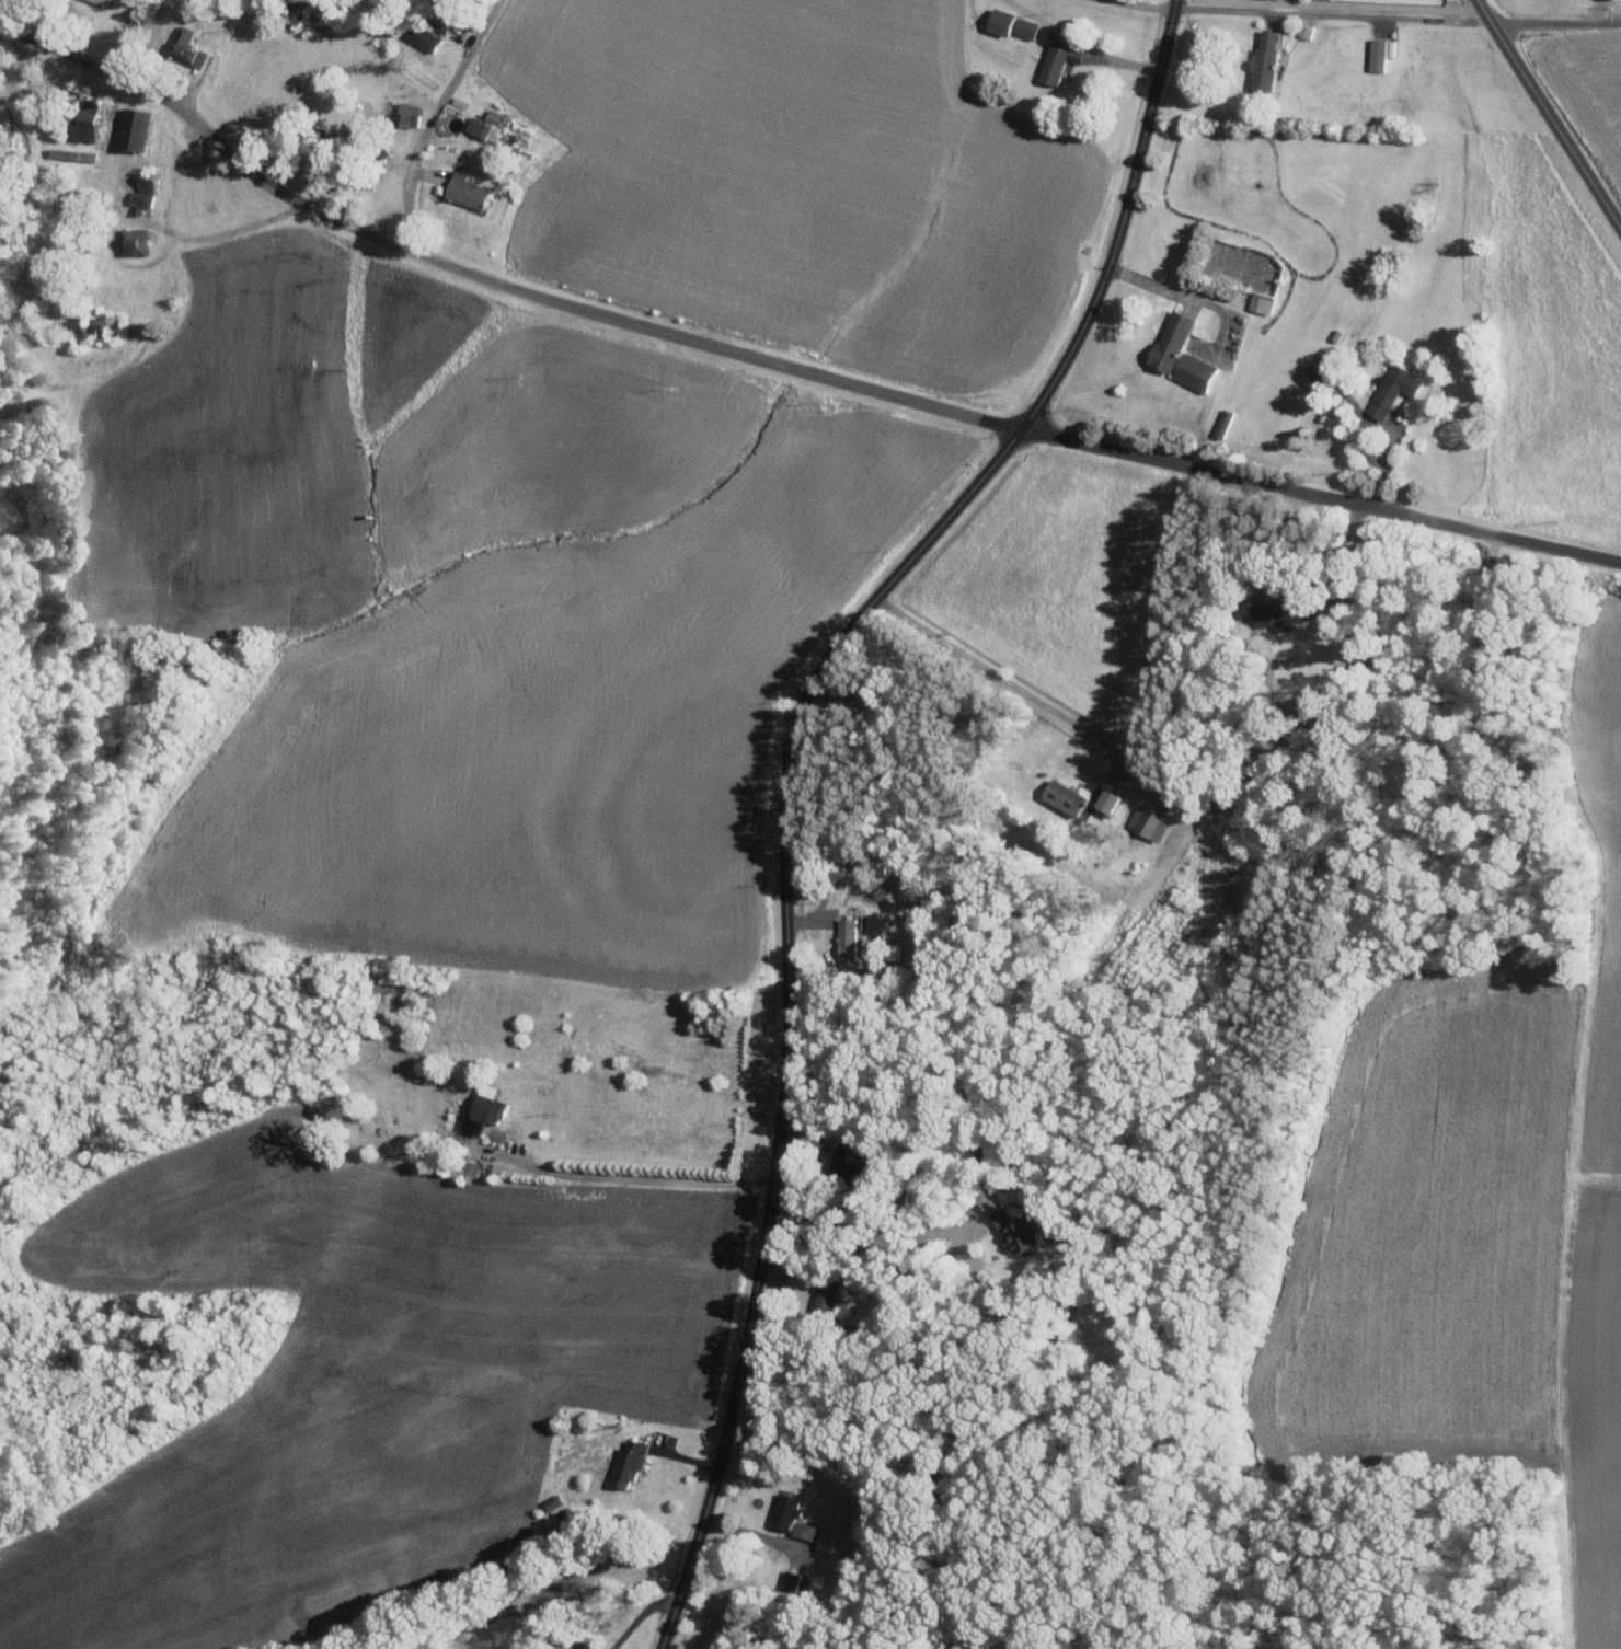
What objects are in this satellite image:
road: (1172, 0)
road: (1599, 13)
road: (1332, 14)
building: (1009, 24)
road: (1555, 24)
building: (425, 37)
road: (126, 41)
building: (191, 48)
building: (1262, 60)
building: (1054, 62)
road: (1548, 114)
road: (432, 116)
building: (486, 124)
building: (88, 128)
building: (142, 128)
building: (148, 189)
building: (470, 191)
road: (228, 231)
building: (136, 242)
road: (1179, 298)
building: (1260, 302)
building: (1176, 354)
road: (781, 367)
building: (1393, 390)
road: (1390, 429)
road: (1280, 581)
building: (1273, 613)
road: (1005, 682)
road: (785, 776)
building: (1060, 796)
building: (1104, 799)
building: (1146, 823)
building: (844, 936)
building: (482, 1109)
building: (842, 1164)
road: (639, 1178)
building: (1018, 1231)
road: (901, 1235)
building: (826, 1296)
building: (625, 1464)
building: (790, 1518)
road: (754, 1535)
road: (639, 1616)
road: (578, 1648)

